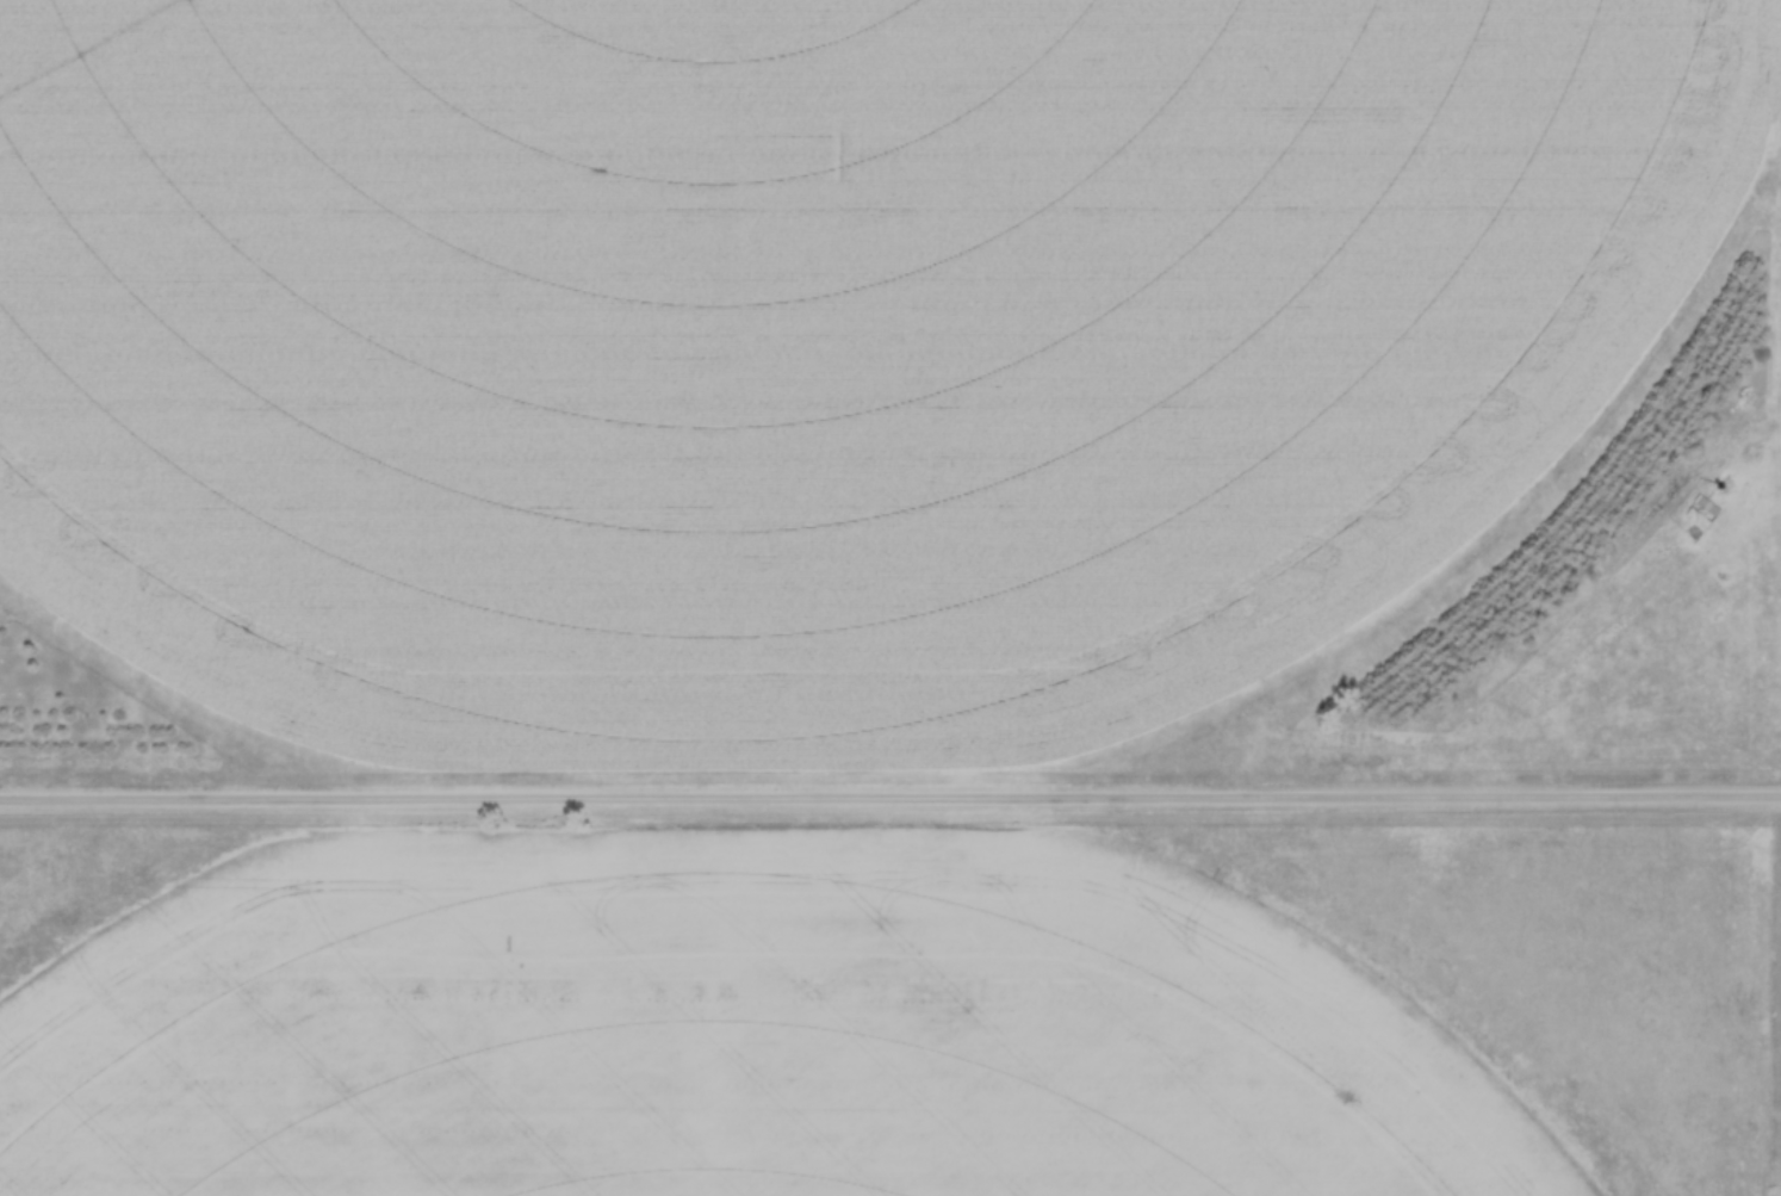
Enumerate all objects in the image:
road: (890, 801)

